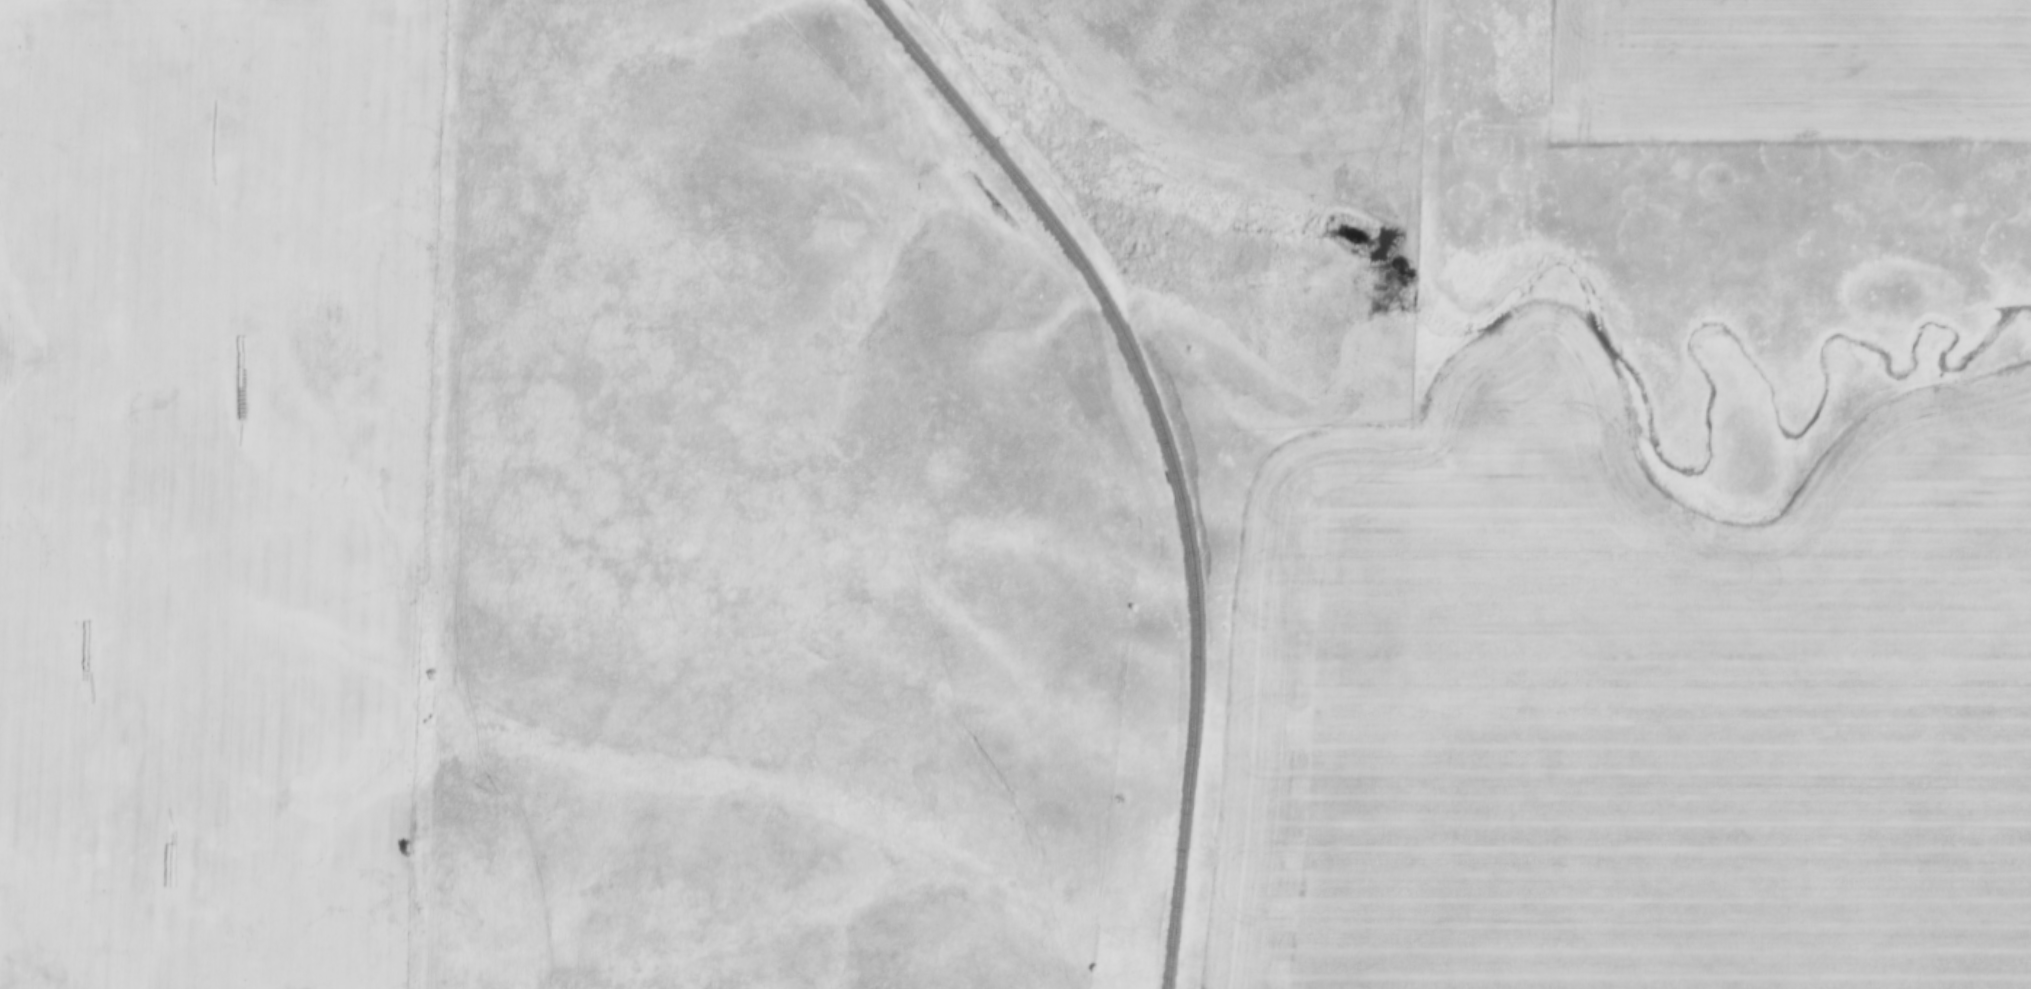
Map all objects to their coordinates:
railway: (1171, 449)
road: (429, 494)

